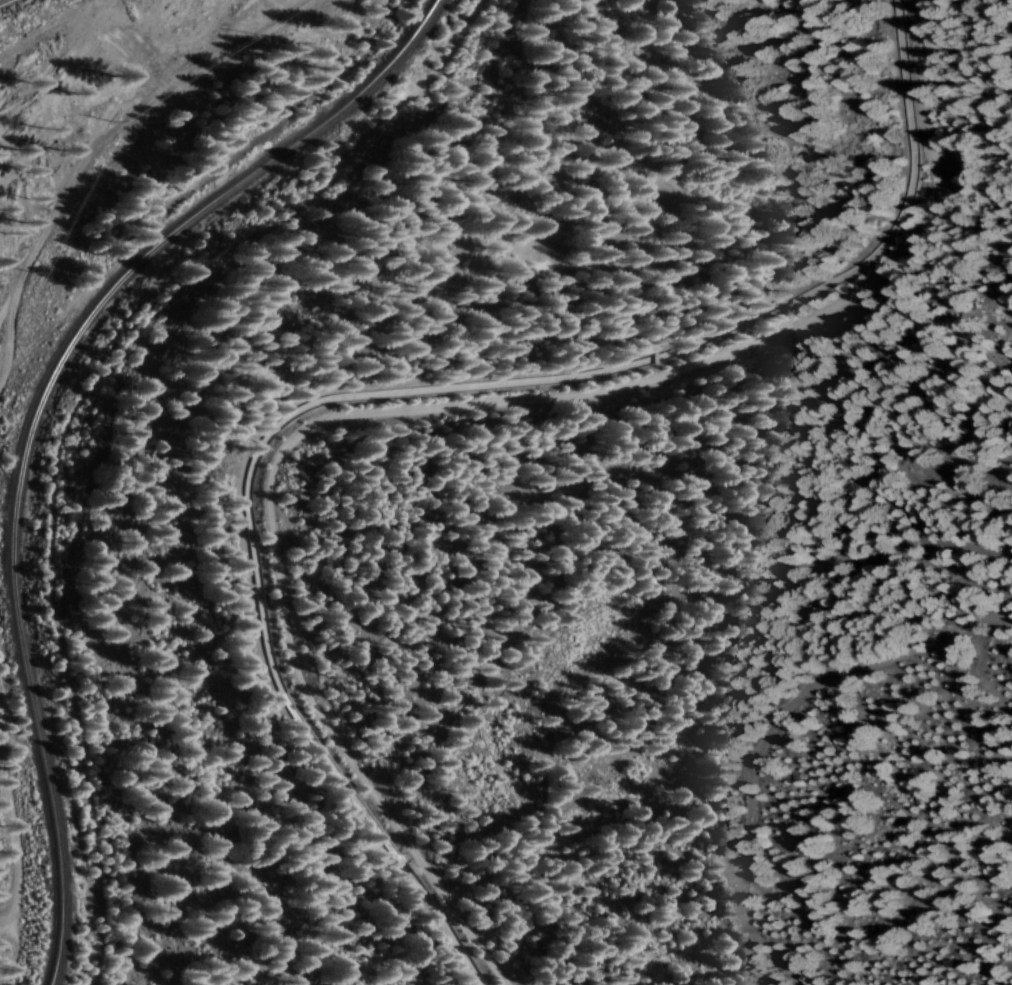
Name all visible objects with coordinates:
railway: (40, 411)
road: (502, 430)

